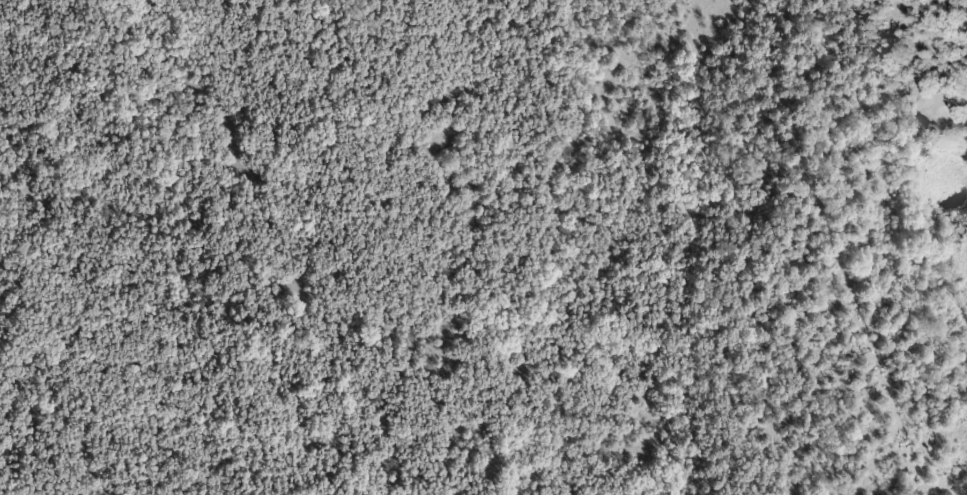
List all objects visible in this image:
road: (944, 110)
road: (948, 293)

